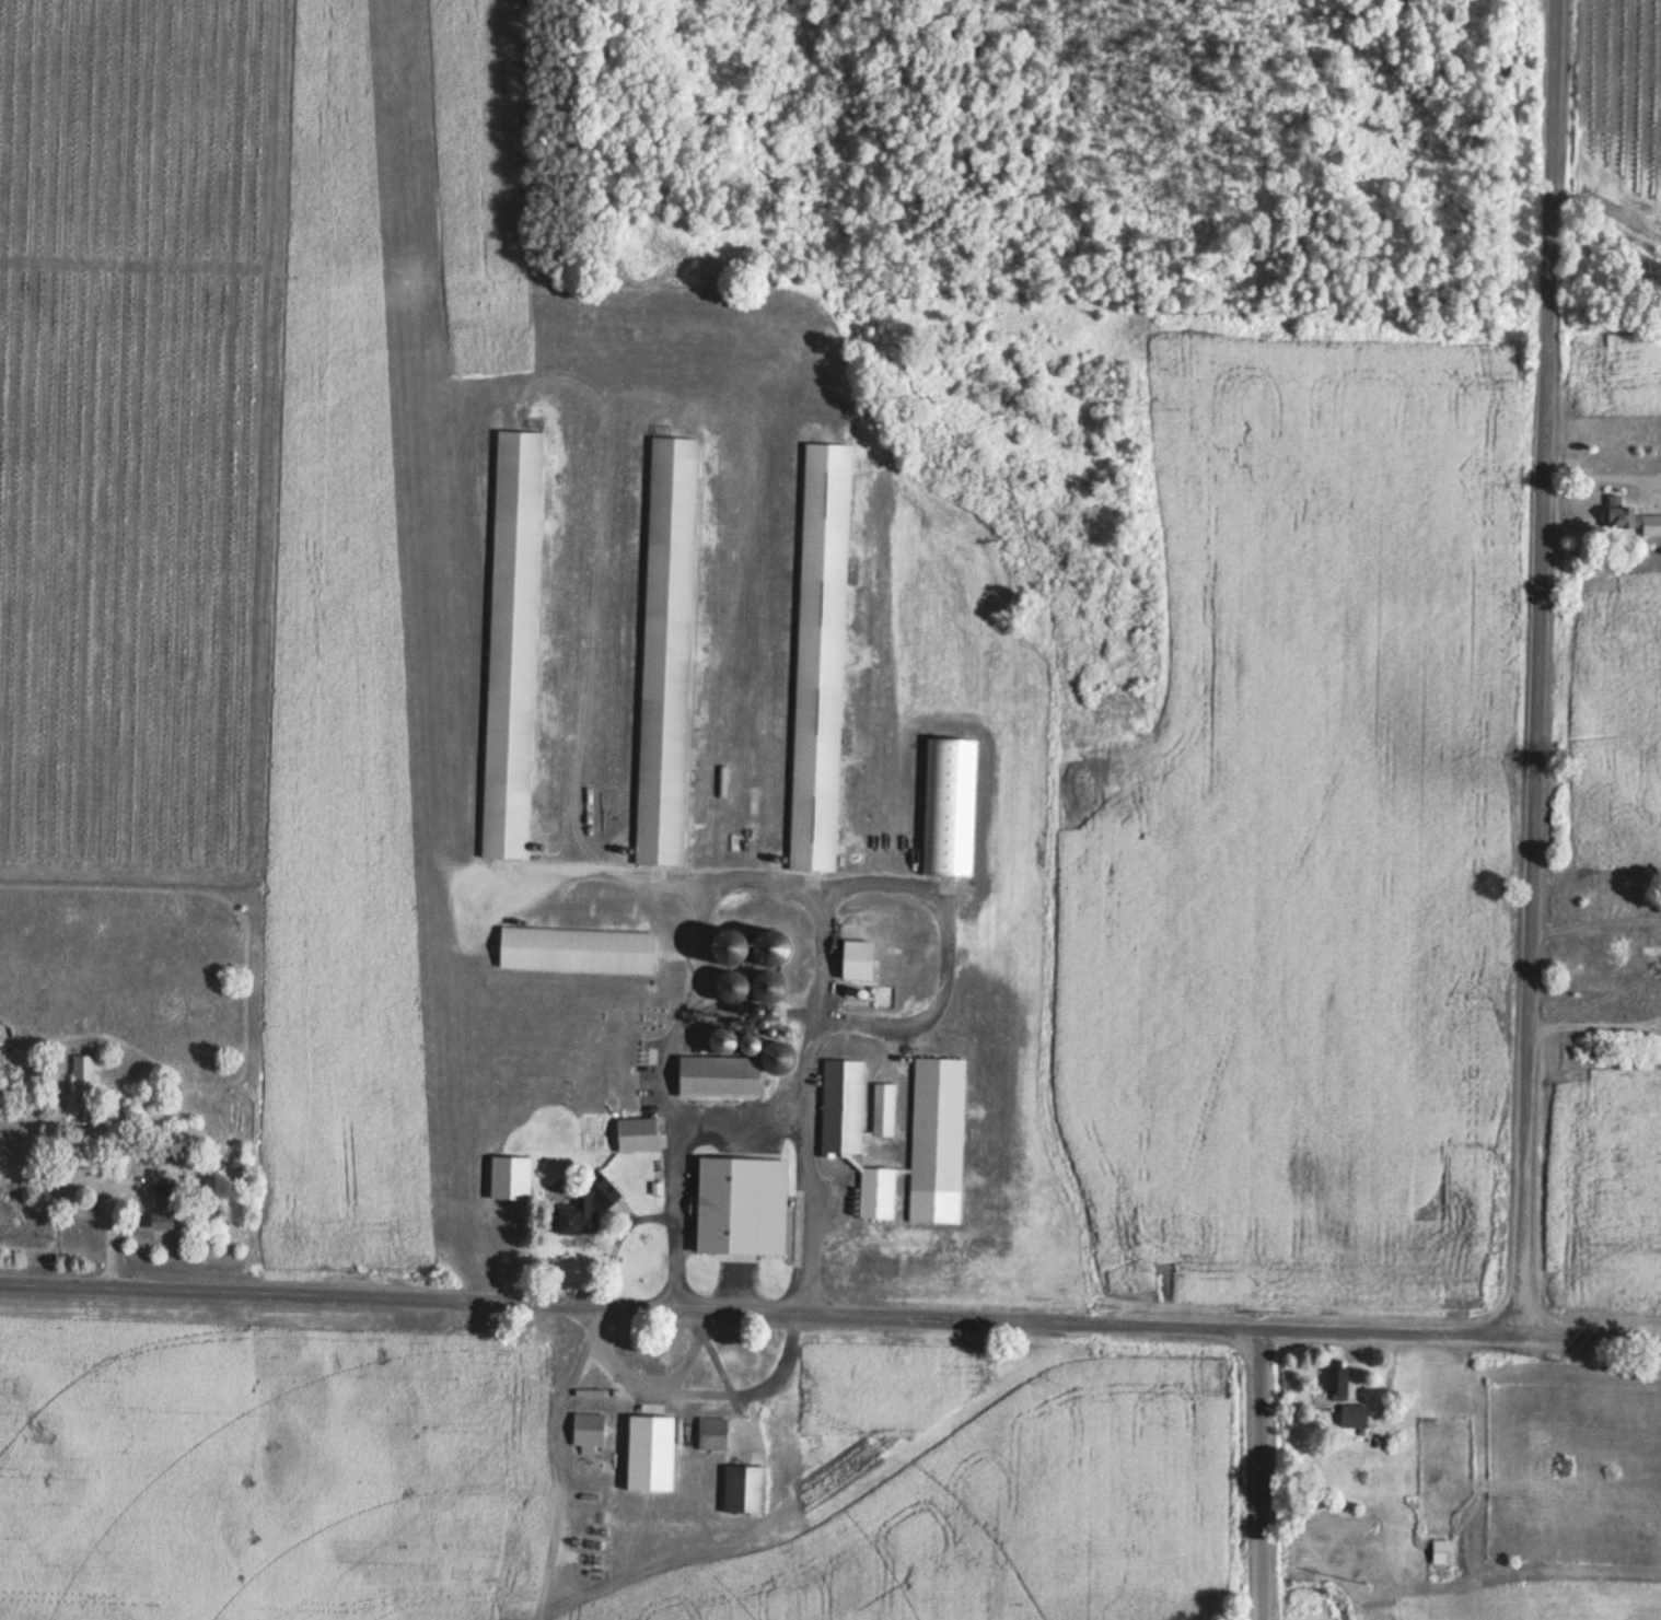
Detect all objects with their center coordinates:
building: (1628, 520)
building: (510, 646)
building: (663, 653)
building: (817, 659)
road: (1525, 659)
building: (948, 809)
building: (574, 951)
building: (1649, 959)
building: (856, 960)
building: (723, 987)
building: (762, 989)
building: (727, 1067)
building: (82, 1074)
building: (840, 1107)
building: (882, 1111)
building: (936, 1126)
building: (632, 1137)
building: (507, 1179)
building: (864, 1196)
building: (717, 1200)
building: (582, 1208)
building: (158, 1215)
road: (751, 1296)
road: (1582, 1318)
building: (1337, 1385)
building: (400, 1395)
building: (1351, 1418)
building: (585, 1433)
building: (710, 1435)
building: (648, 1456)
road: (1241, 1467)
building: (741, 1491)
building: (1440, 1552)

